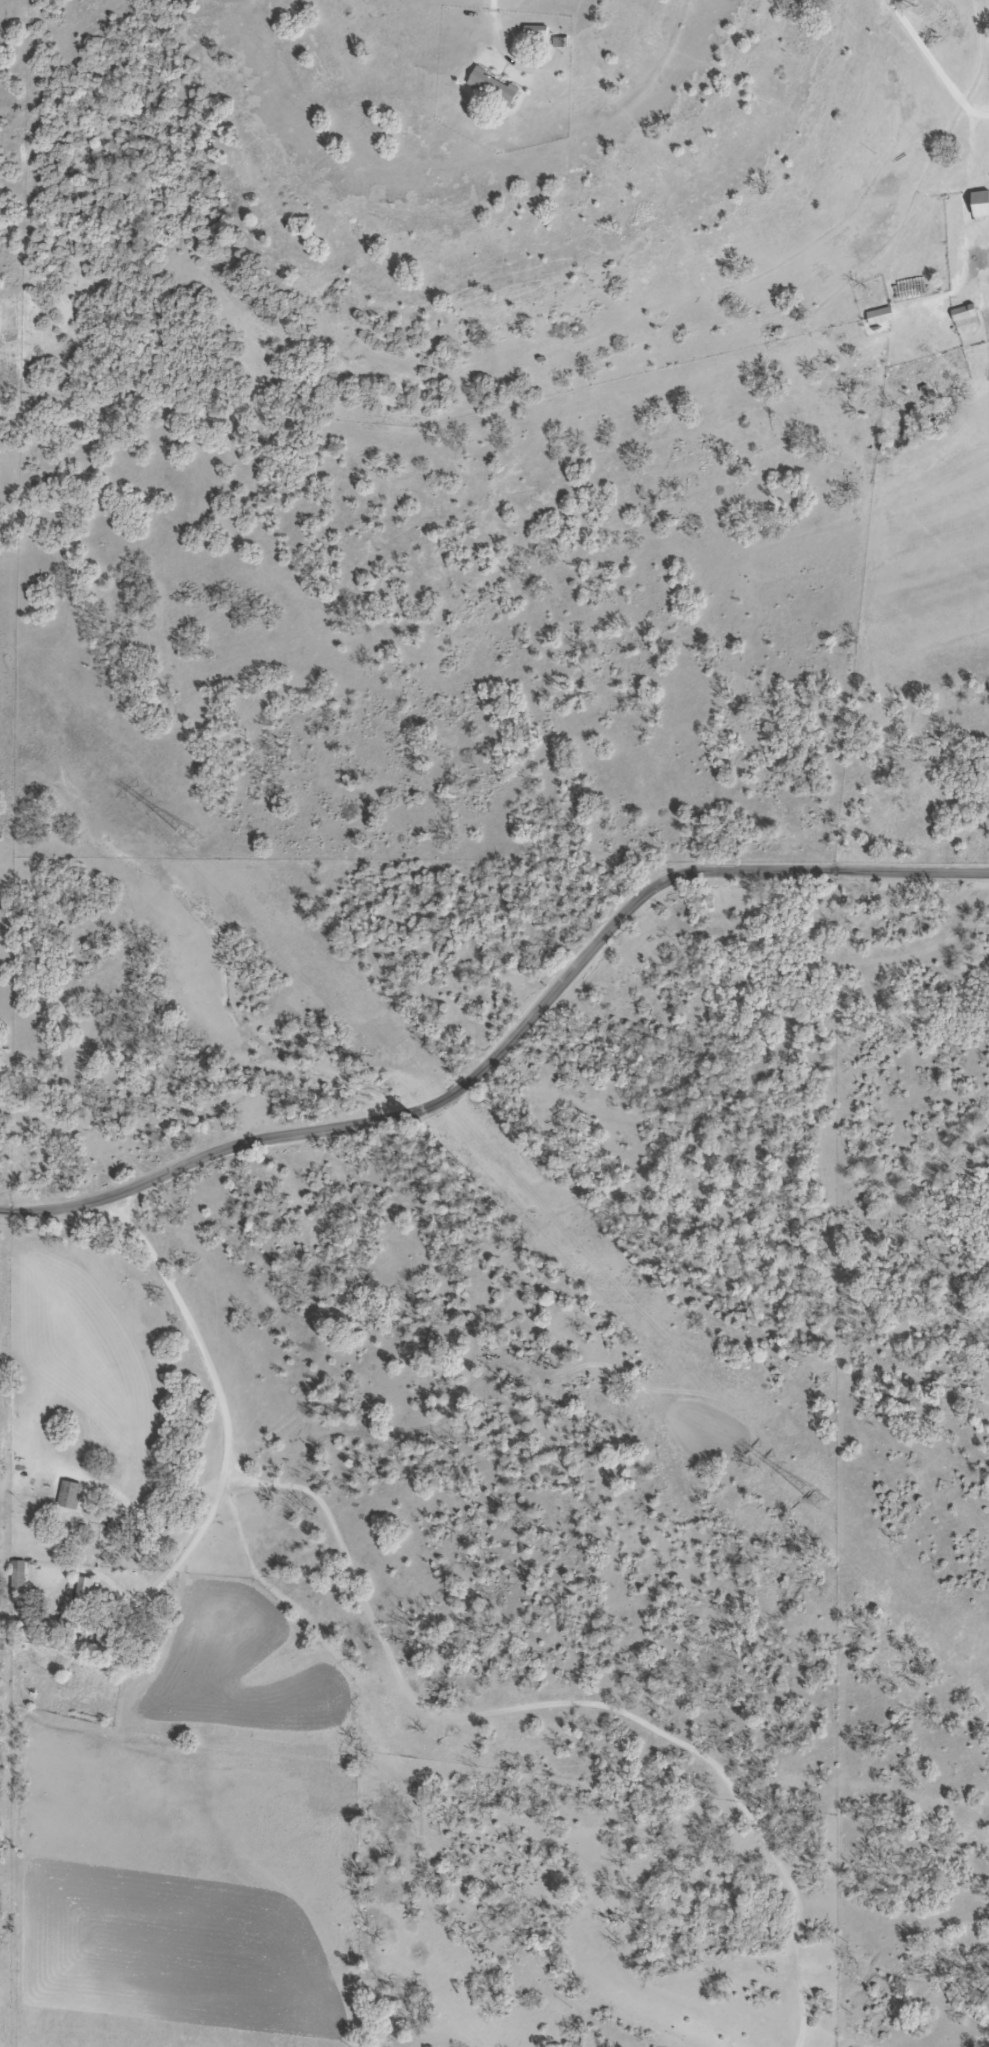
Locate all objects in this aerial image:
building: (533, 33)
building: (558, 46)
road: (935, 64)
building: (493, 89)
building: (980, 206)
building: (880, 318)
building: (964, 318)
power tower: (192, 841)
road: (507, 1040)
road: (219, 1387)
building: (69, 1497)
power tower: (818, 1499)
building: (18, 1579)
building: (84, 1592)

